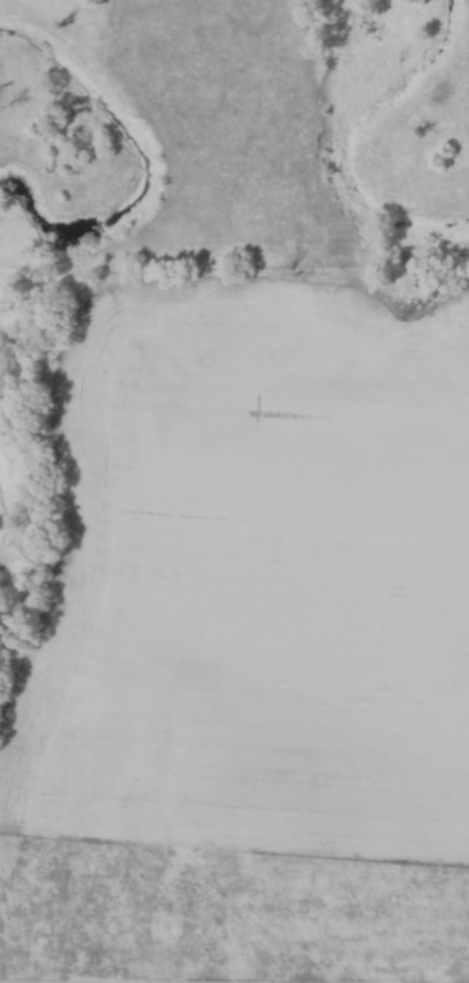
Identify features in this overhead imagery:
river: (348, 137)
river: (143, 164)
river: (16, 515)

